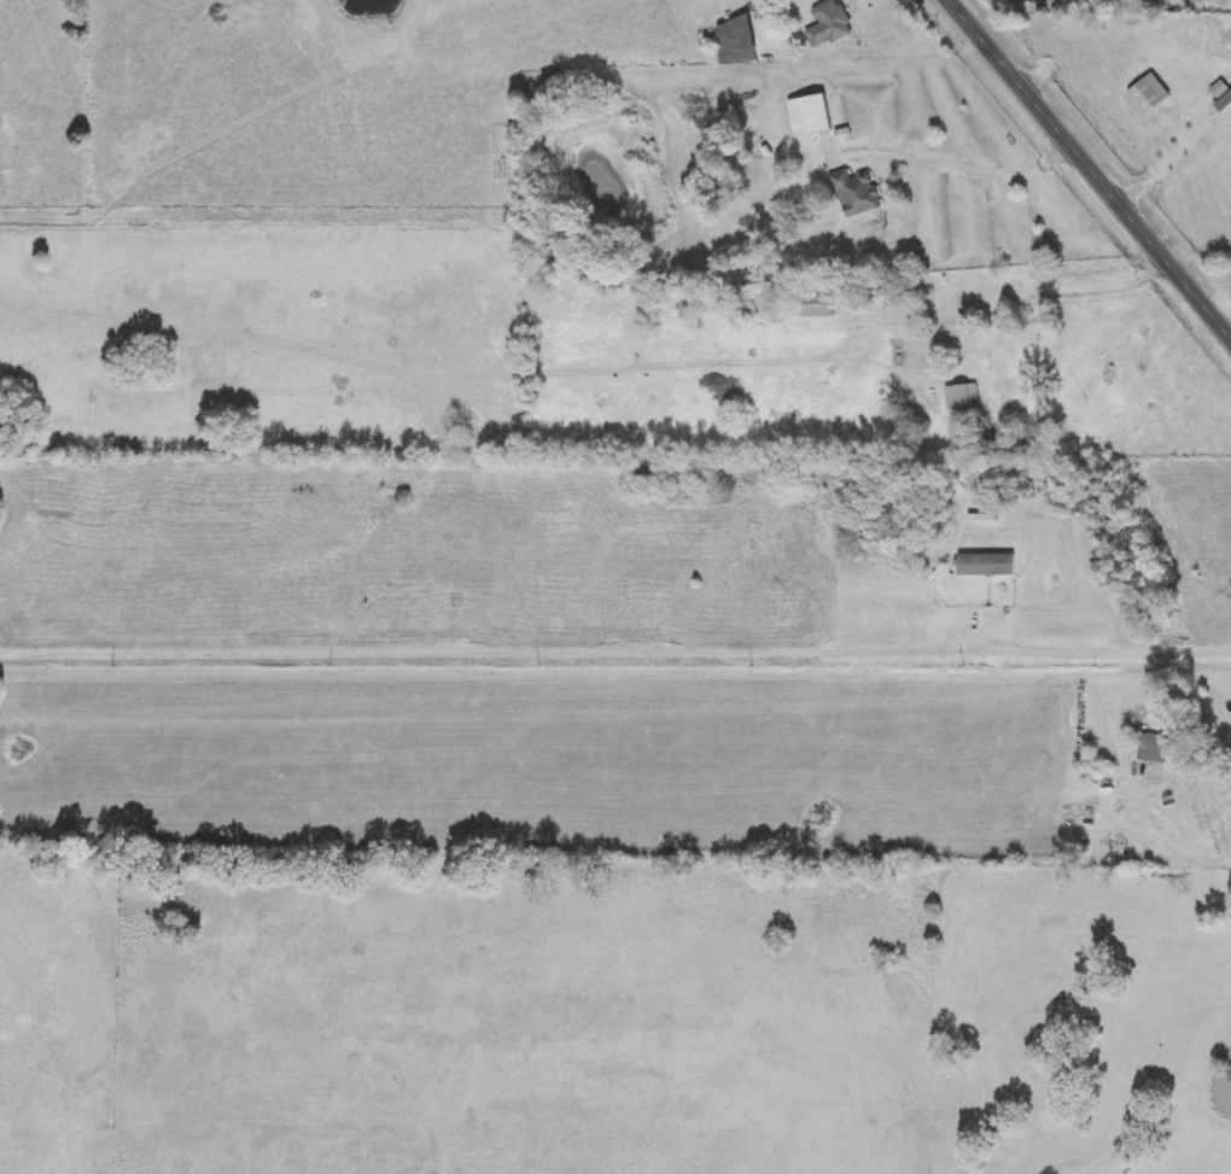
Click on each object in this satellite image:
building: (829, 24)
building: (736, 52)
building: (1145, 97)
building: (1225, 106)
building: (810, 115)
road: (1173, 153)
road: (1098, 159)
road: (968, 165)
building: (857, 193)
road: (1098, 285)
building: (1140, 376)
road: (1202, 403)
building: (986, 565)
road: (615, 650)
building: (1154, 748)

